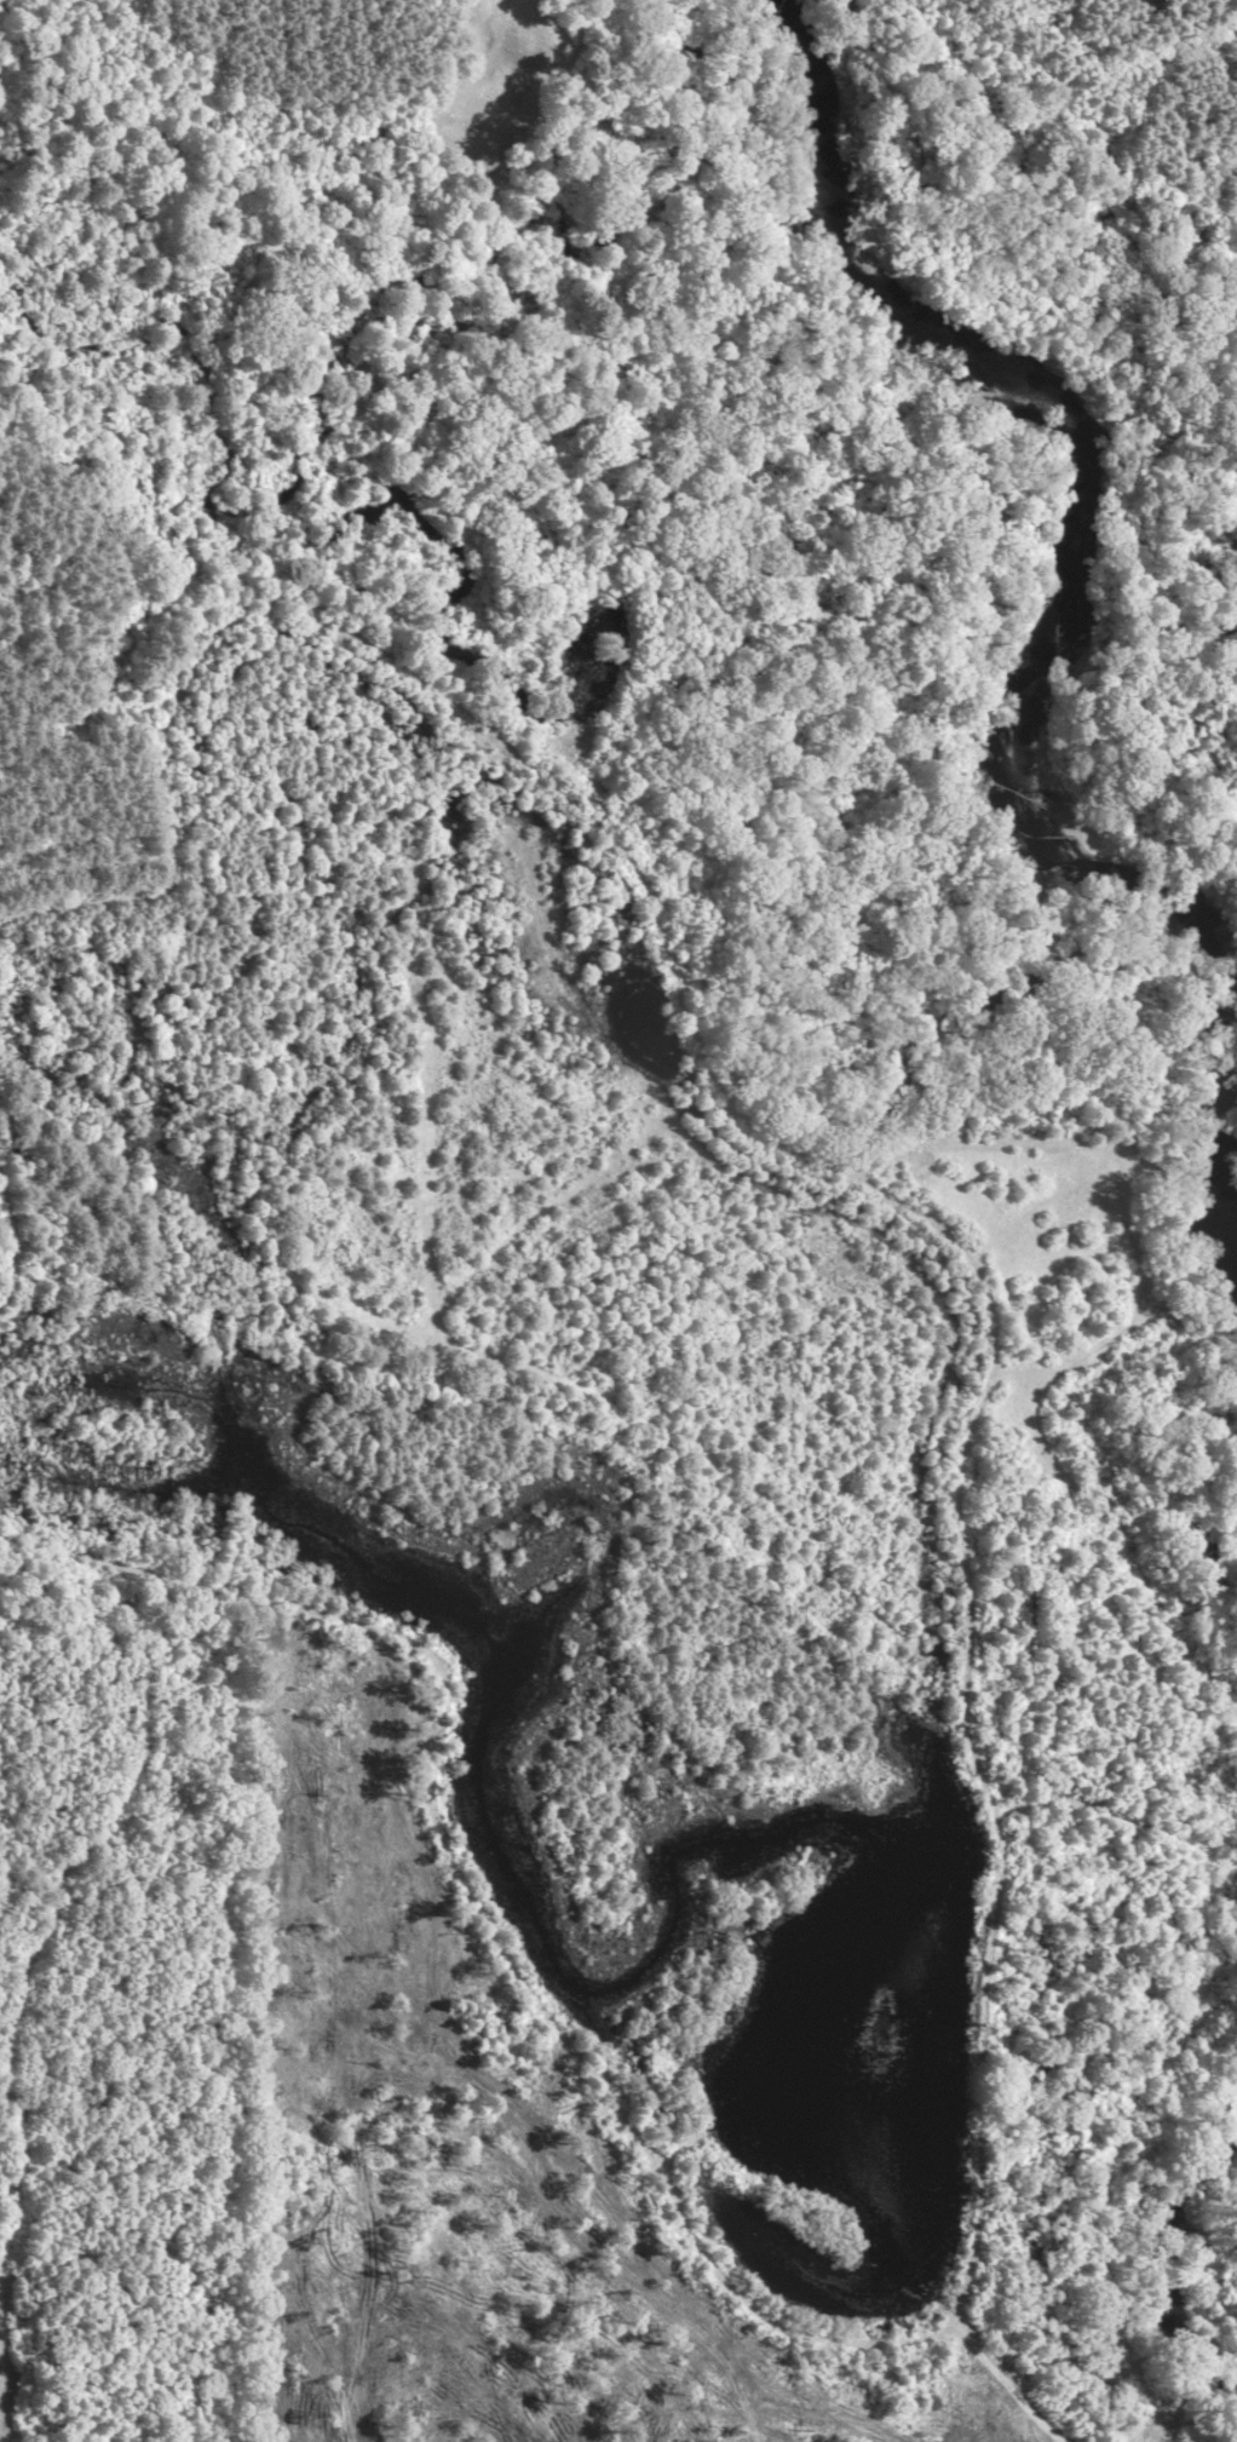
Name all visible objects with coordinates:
river: (1071, 493)
river: (1222, 1161)
road: (1003, 2425)

